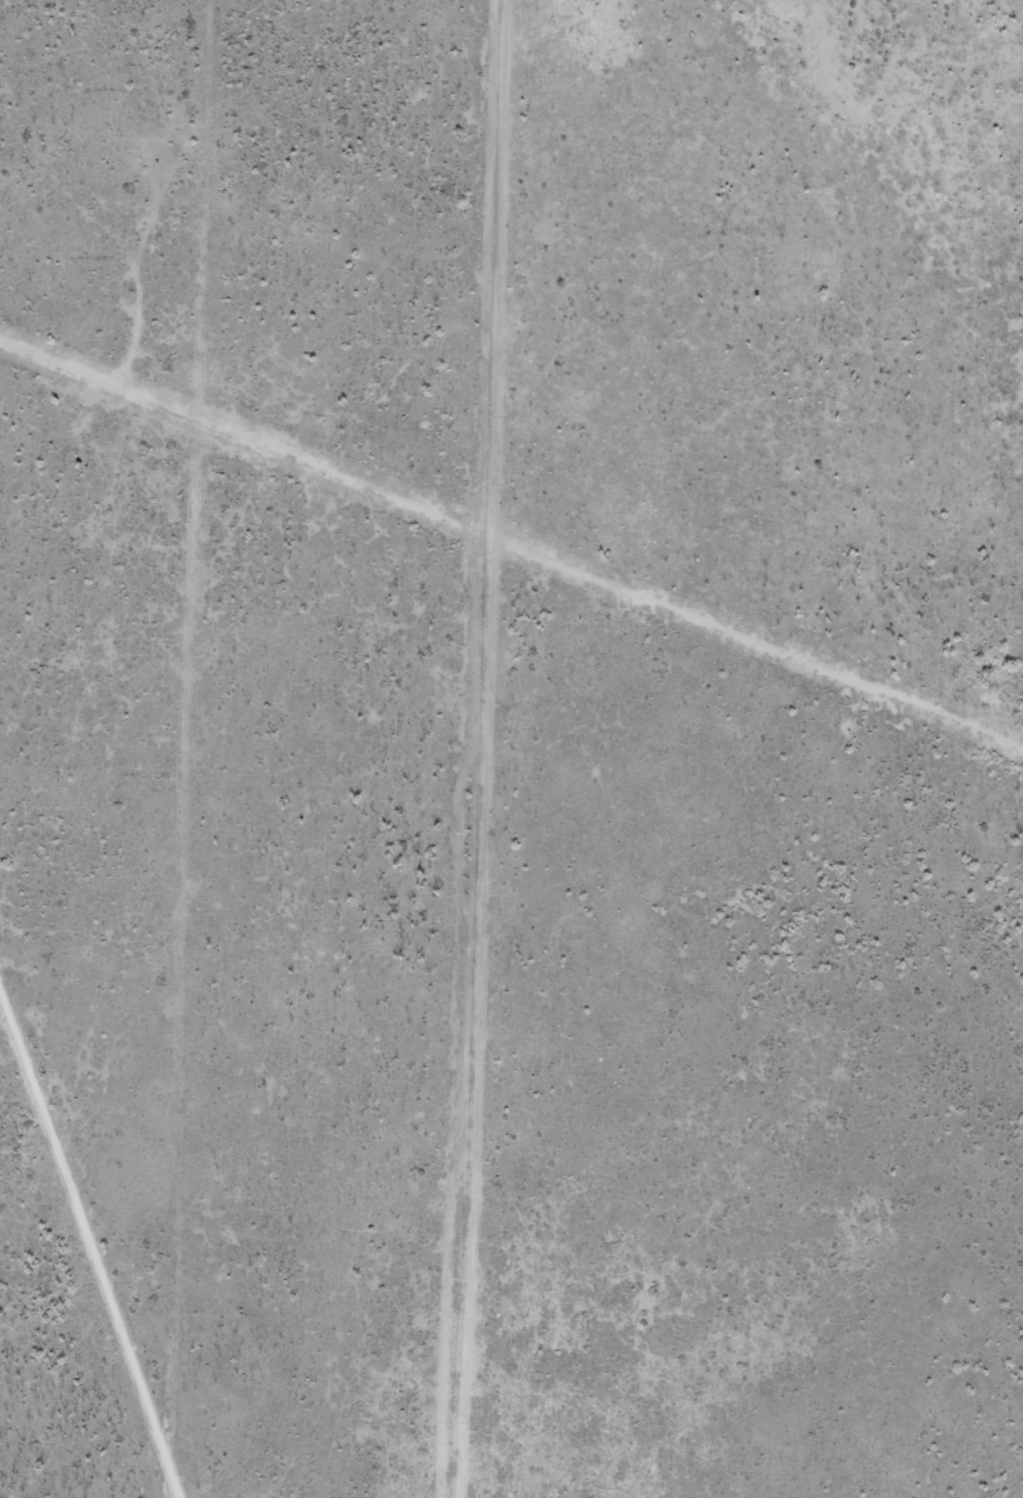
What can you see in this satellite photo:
road: (88, 1238)

